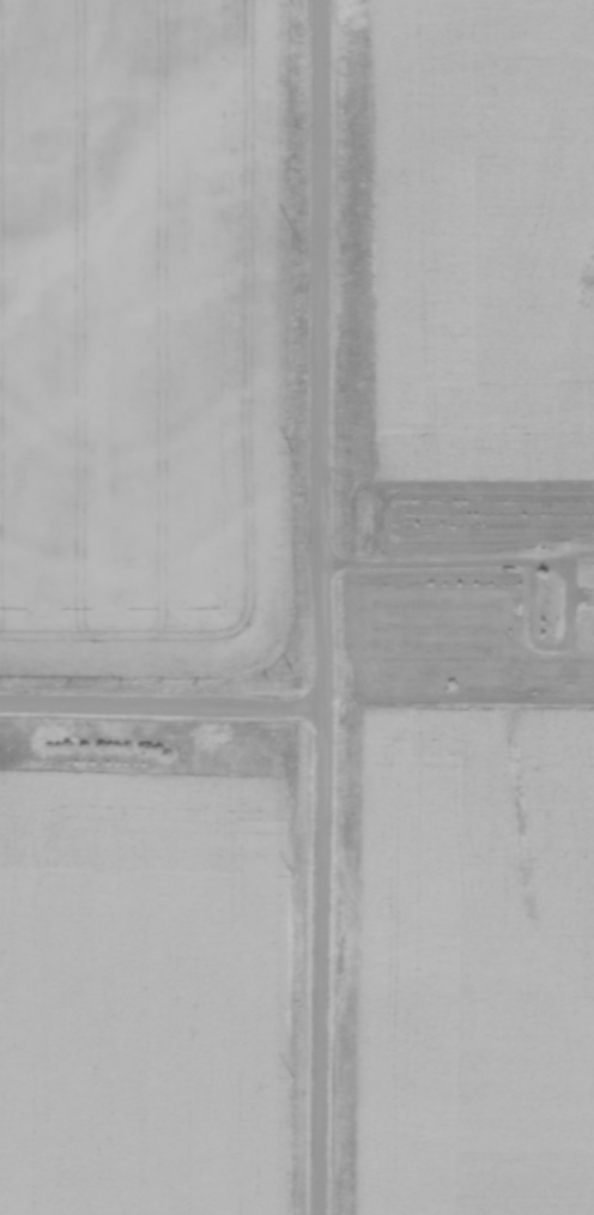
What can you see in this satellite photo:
building: (590, 594)
road: (320, 607)
road: (159, 708)

